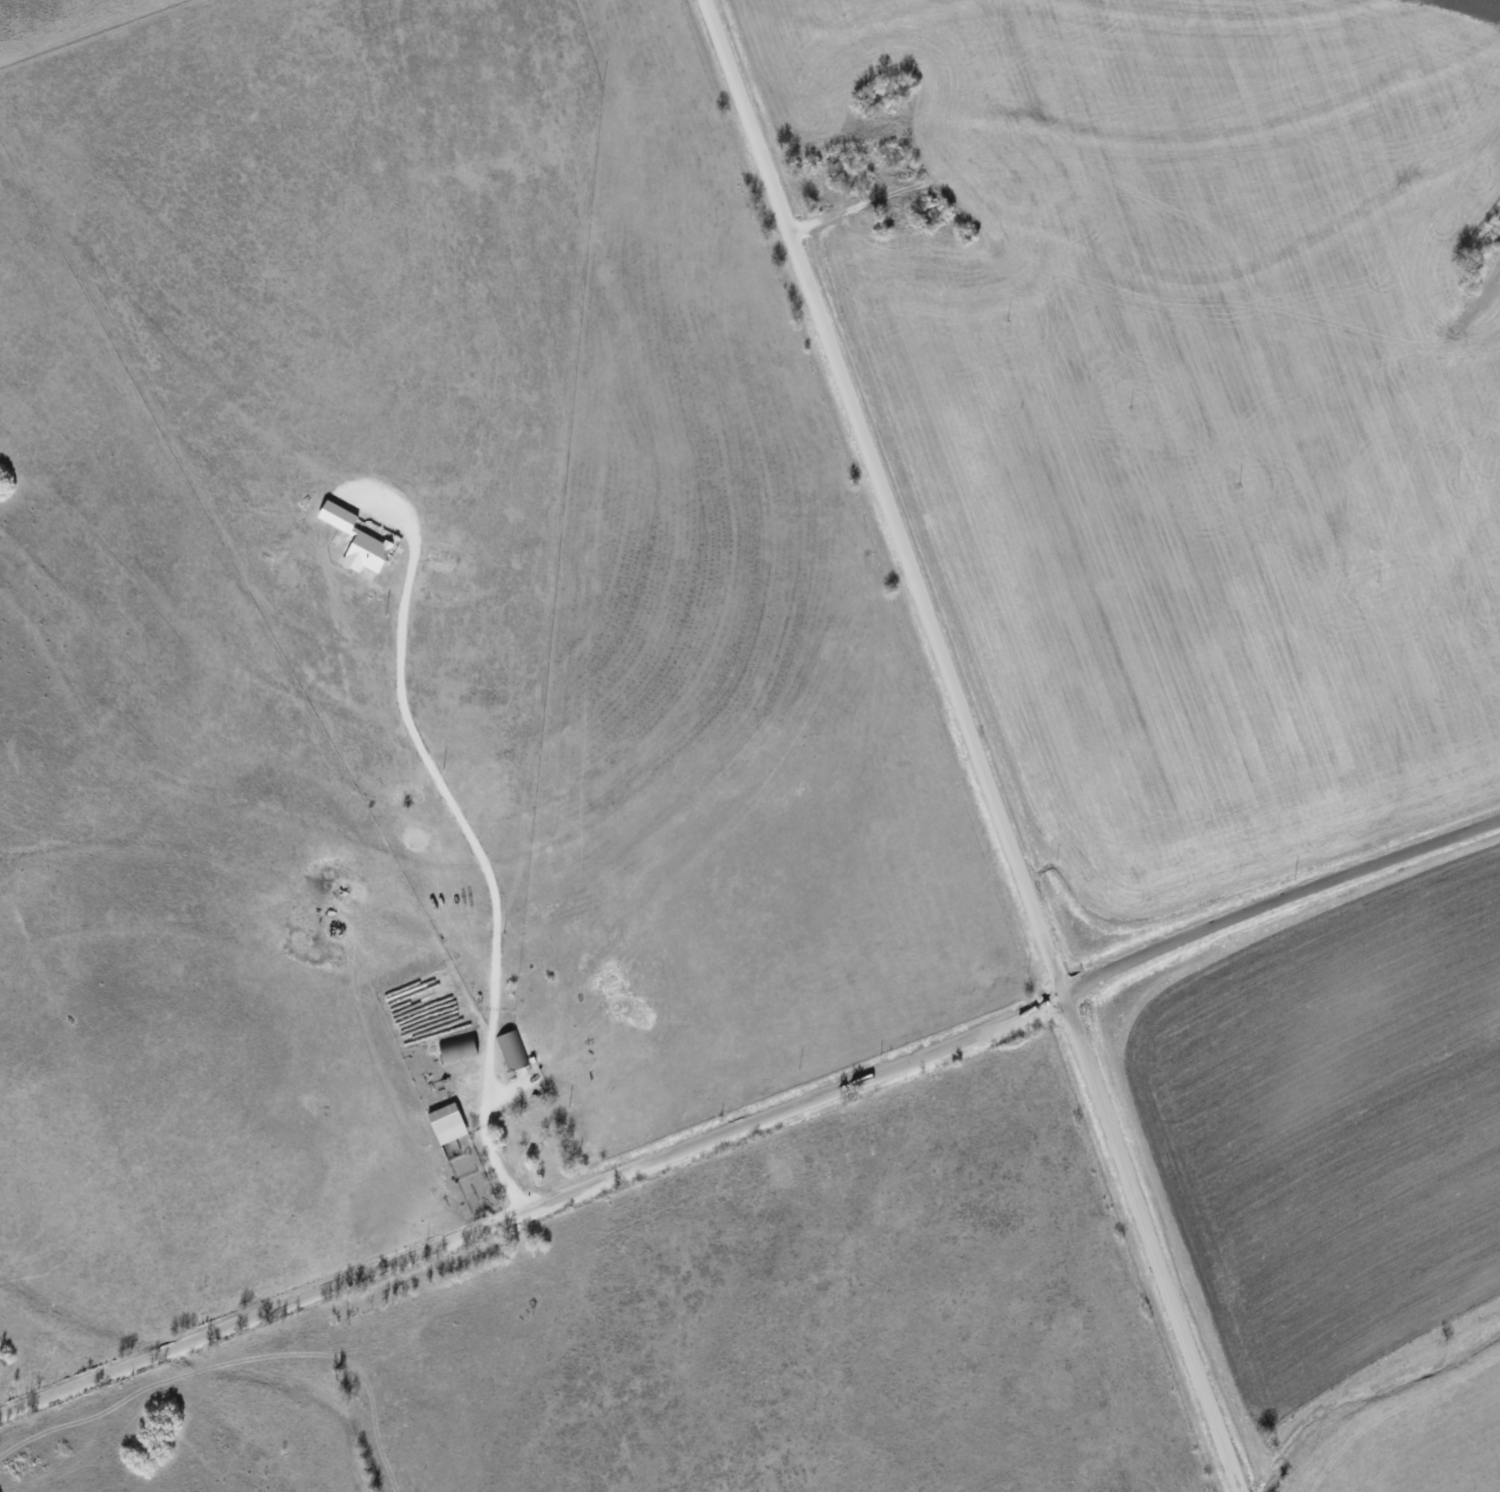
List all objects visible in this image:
building: (355, 539)
road: (973, 745)
road: (469, 838)
building: (457, 1048)
building: (511, 1050)
building: (446, 1123)
road: (752, 1123)

